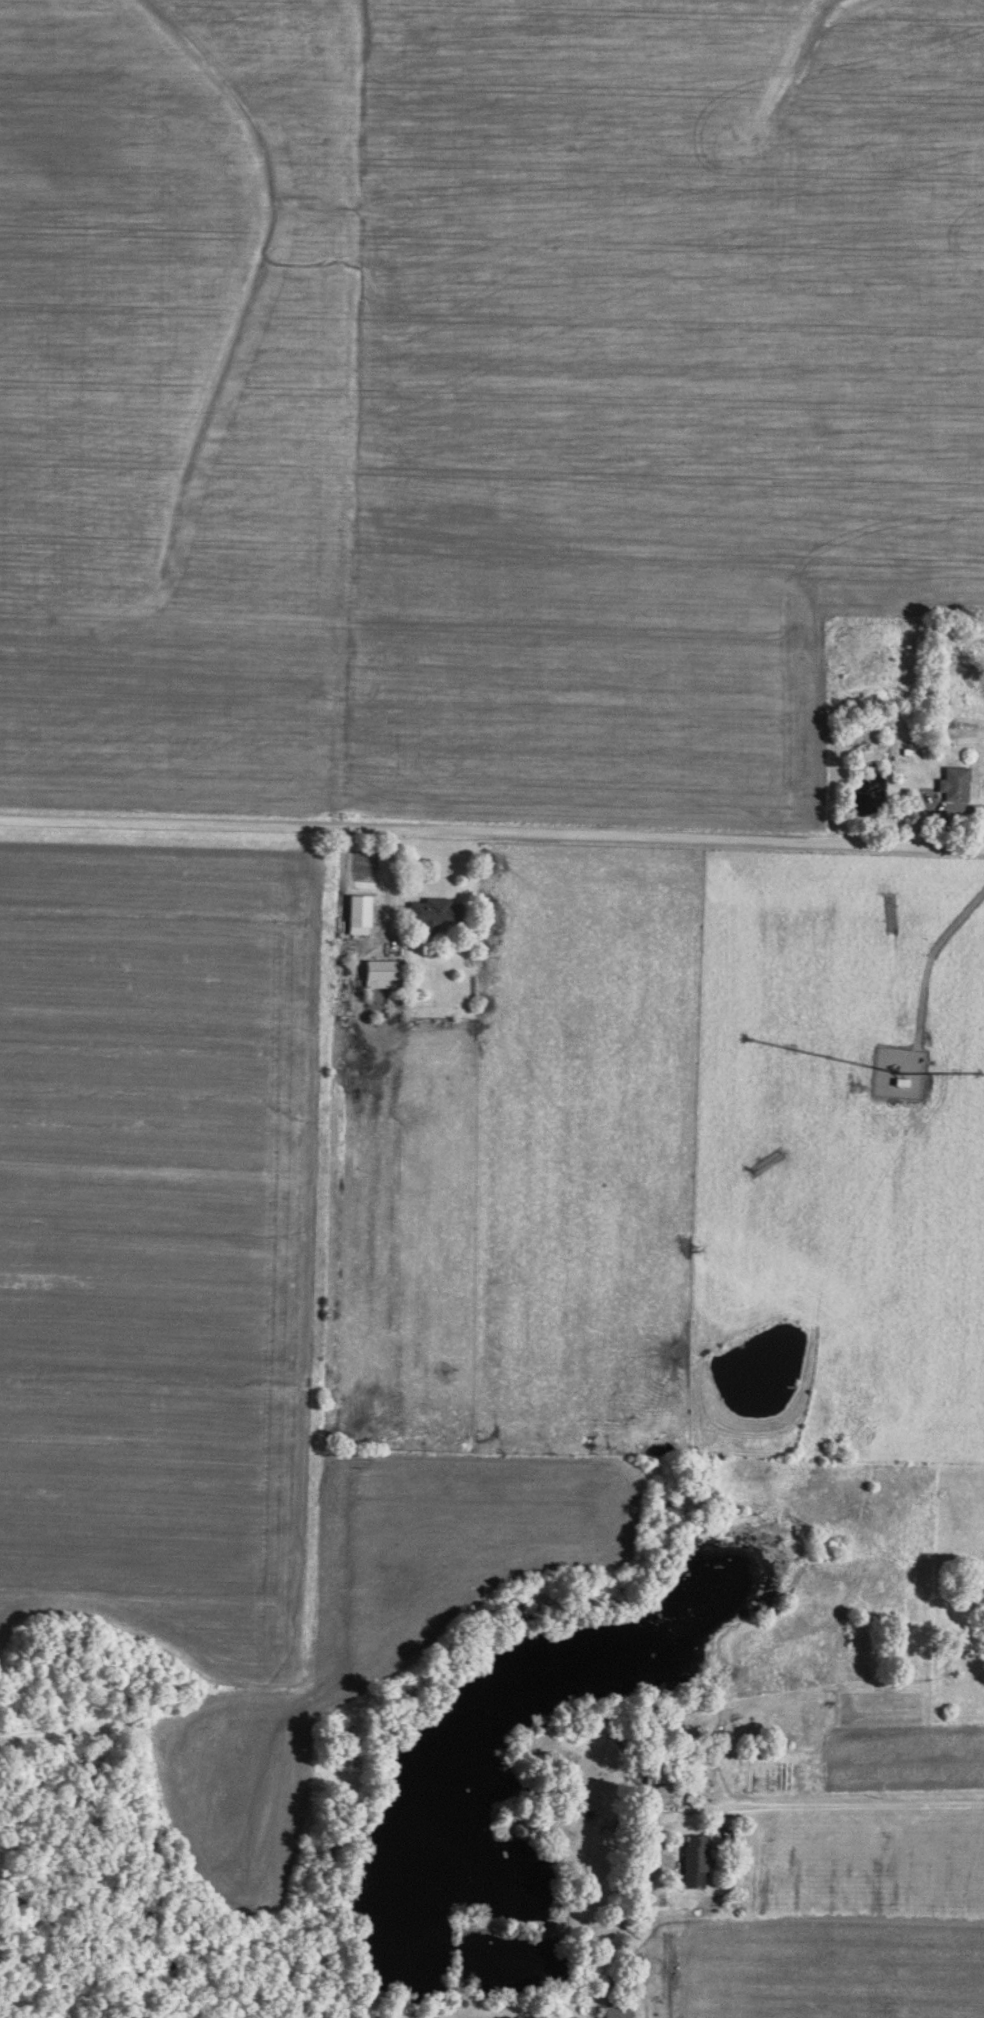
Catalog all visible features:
building: (953, 780)
road: (492, 831)
building: (433, 909)
building: (357, 911)
road: (927, 958)
building: (379, 971)
building: (664, 1769)
road: (833, 1808)
building: (693, 1858)
building: (613, 2010)

